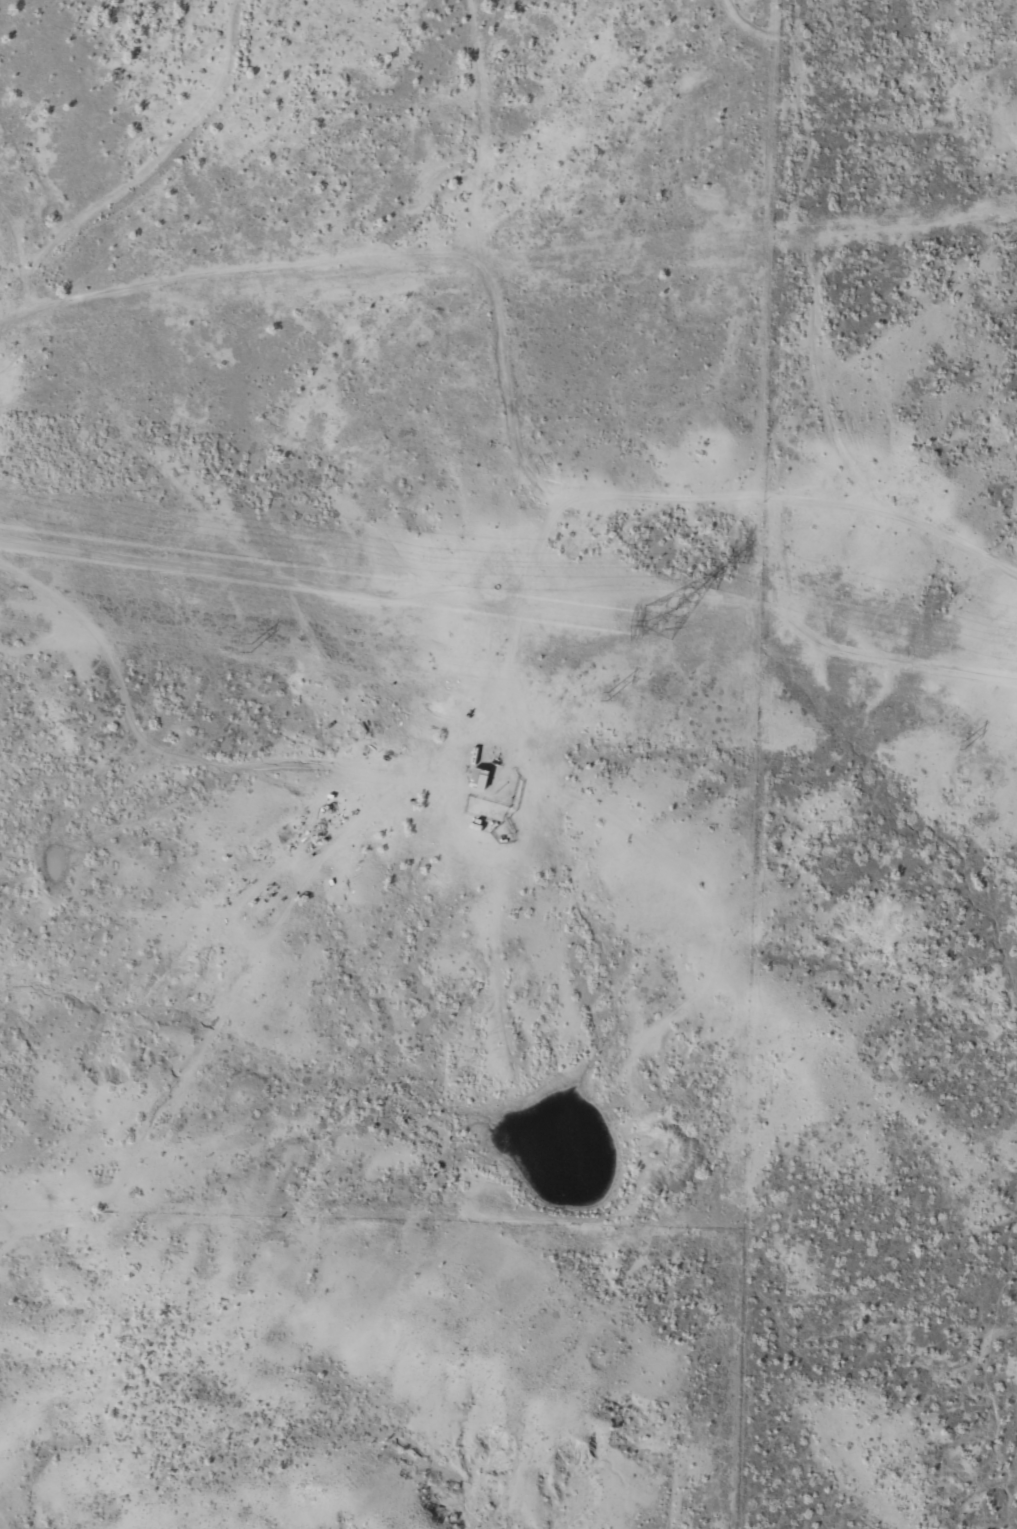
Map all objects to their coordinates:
road: (792, 332)
road: (488, 608)
power tower: (657, 620)
power tower: (250, 646)
power tower: (607, 694)
power tower: (963, 745)
building: (478, 777)

